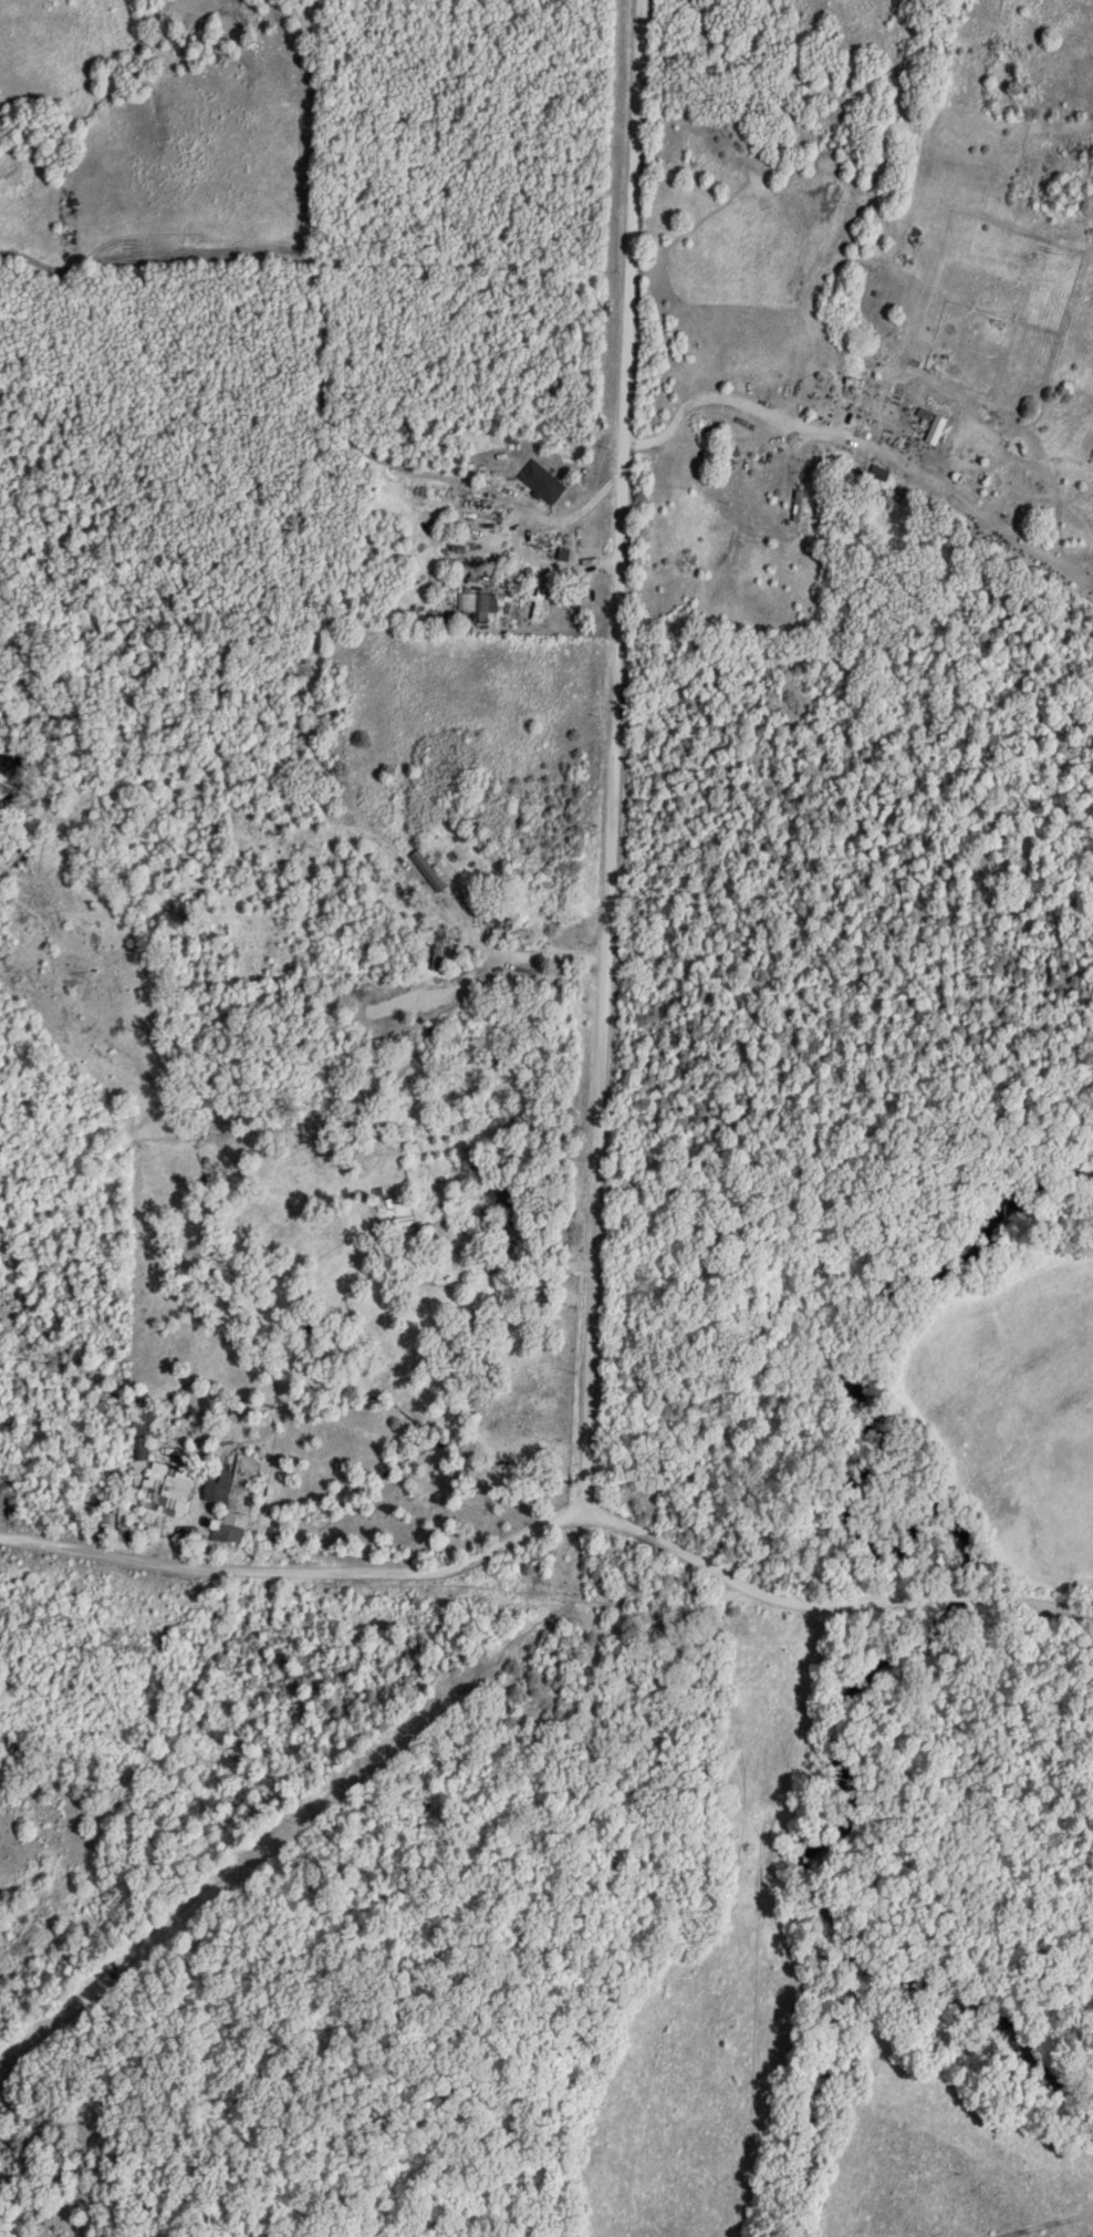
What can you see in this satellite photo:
building: (543, 480)
building: (478, 602)
building: (540, 604)
road: (617, 757)
building: (501, 924)
building: (503, 1197)
building: (405, 1223)
building: (142, 1460)
building: (219, 1488)
building: (168, 1502)
road: (493, 1551)
road: (1029, 1604)
road: (565, 1630)

